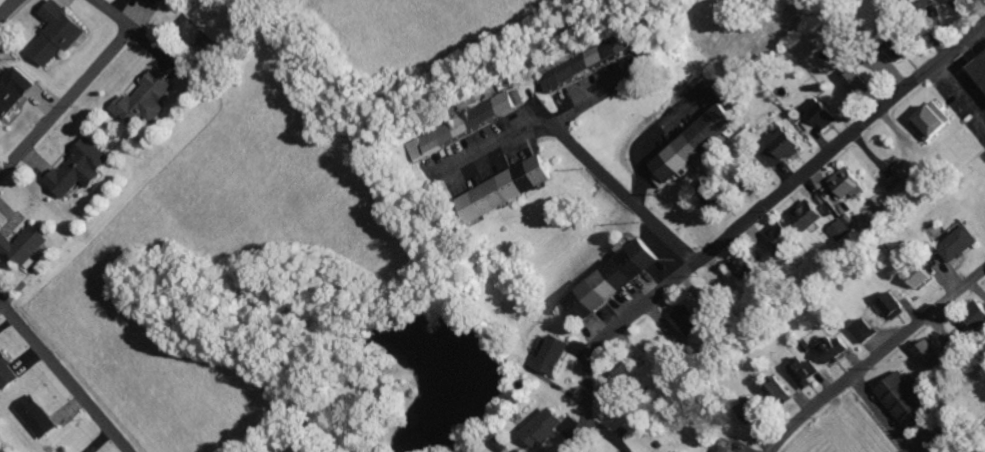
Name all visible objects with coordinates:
building: (155, 1)
building: (968, 3)
road: (9, 9)
building: (59, 34)
building: (903, 48)
building: (590, 64)
building: (980, 68)
building: (858, 81)
road: (79, 89)
building: (14, 93)
building: (145, 100)
building: (497, 108)
building: (822, 114)
road: (534, 120)
building: (933, 124)
building: (434, 141)
building: (698, 143)
building: (782, 147)
building: (81, 170)
building: (905, 181)
building: (850, 184)
building: (511, 189)
road: (620, 189)
building: (716, 192)
building: (808, 215)
road: (746, 221)
building: (843, 227)
building: (783, 238)
building: (961, 244)
building: (25, 246)
building: (747, 270)
building: (920, 274)
building: (616, 280)
building: (894, 306)
building: (978, 316)
building: (690, 322)
building: (868, 331)
building: (835, 348)
building: (930, 353)
building: (557, 355)
road: (877, 360)
building: (8, 372)
building: (806, 372)
road: (66, 375)
building: (780, 394)
building: (909, 403)
building: (756, 413)
building: (39, 416)
building: (547, 427)
building: (731, 449)
building: (636, 450)

